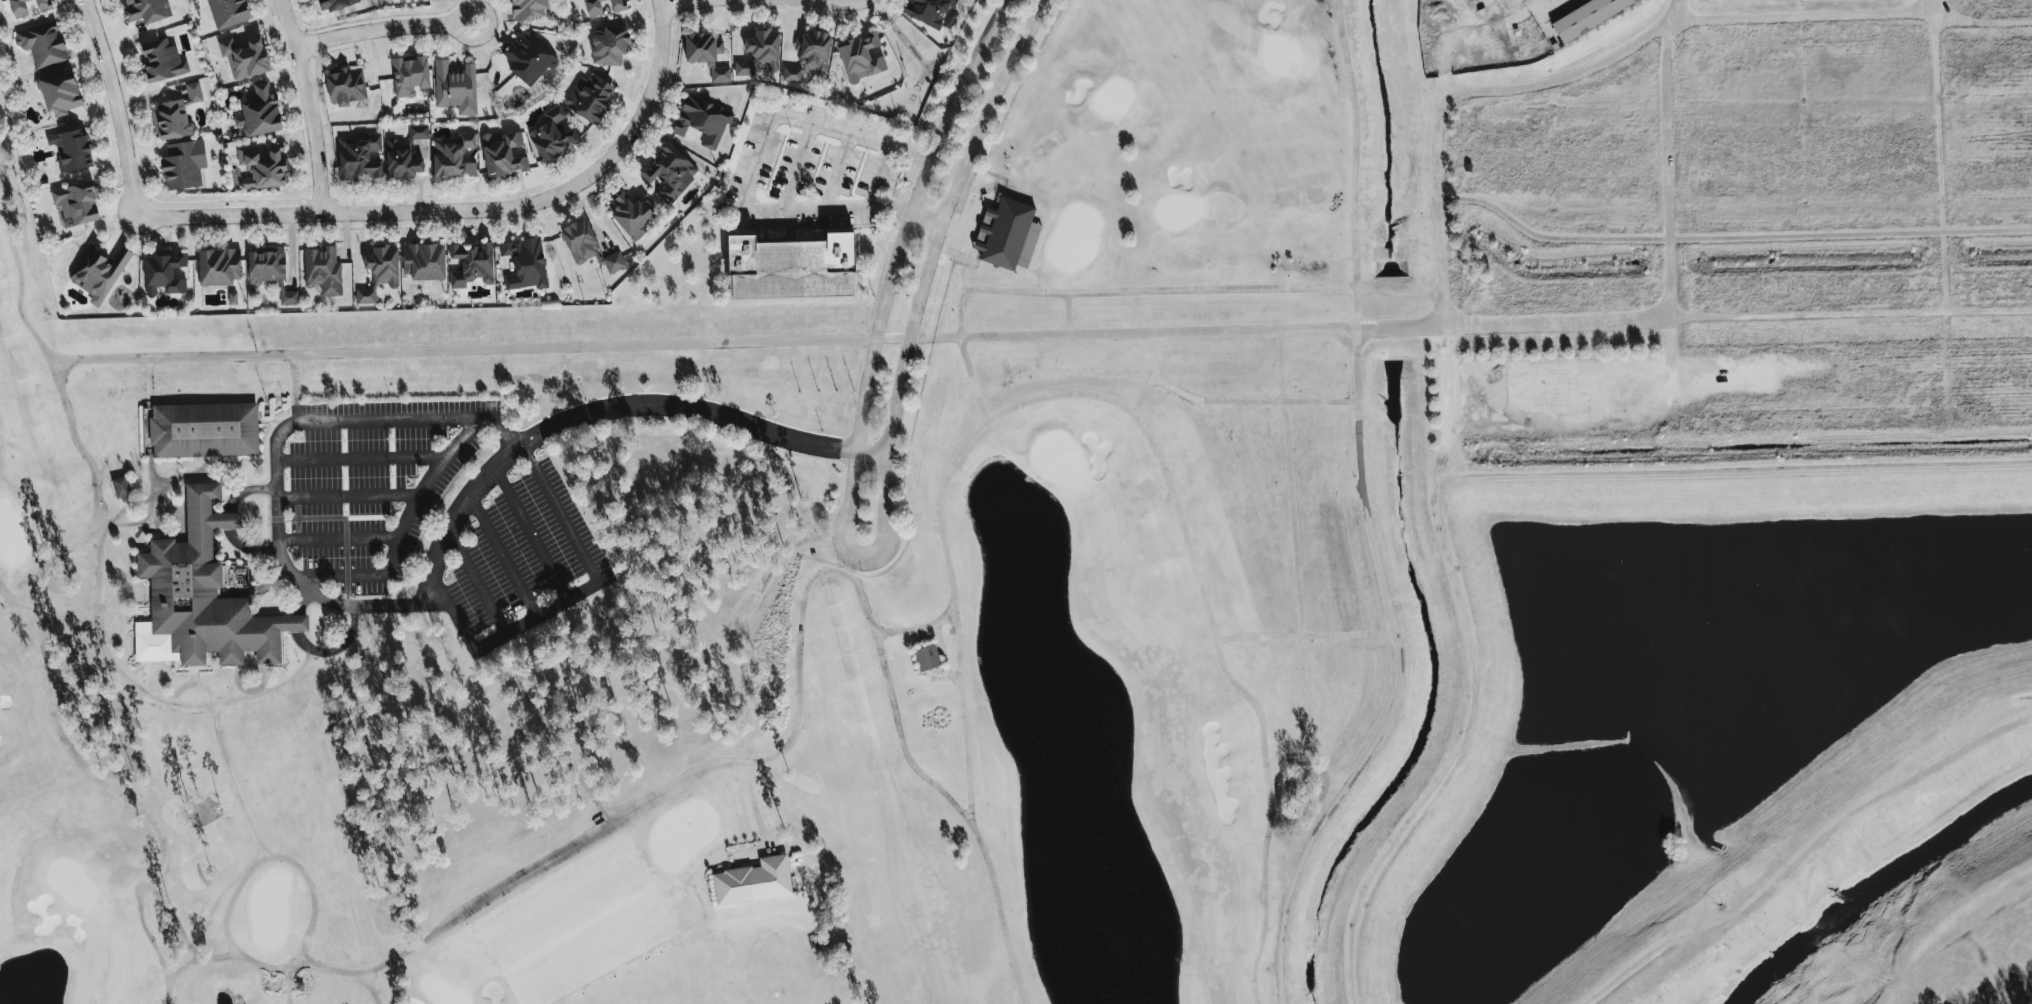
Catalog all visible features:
building: (399, 0)
road: (683, 3)
road: (838, 3)
building: (334, 4)
building: (42, 5)
building: (616, 5)
road: (1932, 6)
building: (593, 7)
building: (18, 8)
building: (529, 9)
building: (146, 10)
road: (1676, 10)
building: (227, 12)
building: (931, 12)
road: (1802, 16)
building: (1585, 17)
road: (1981, 23)
road: (388, 29)
road: (1470, 30)
road: (484, 32)
building: (42, 46)
building: (609, 46)
building: (706, 55)
building: (245, 56)
building: (809, 56)
building: (861, 58)
building: (527, 59)
building: (162, 60)
building: (409, 76)
building: (345, 86)
building: (456, 88)
building: (193, 92)
building: (60, 93)
building: (589, 97)
road: (309, 104)
road: (115, 107)
building: (261, 111)
building: (171, 120)
building: (702, 121)
building: (554, 135)
building: (71, 149)
building: (503, 154)
building: (405, 155)
building: (453, 156)
building: (359, 158)
building: (183, 165)
road: (796, 165)
building: (264, 166)
road: (1667, 169)
building: (670, 172)
road: (839, 172)
road: (750, 174)
road: (881, 177)
road: (1941, 190)
building: (76, 203)
road: (1438, 203)
road: (465, 209)
building: (631, 215)
building: (1007, 235)
road: (1729, 237)
building: (579, 241)
building: (423, 261)
building: (614, 262)
building: (471, 264)
building: (524, 264)
building: (218, 267)
building: (791, 268)
building: (323, 271)
building: (380, 272)
building: (270, 273)
building: (164, 274)
building: (98, 275)
road: (1183, 290)
building: (232, 299)
road: (959, 310)
road: (1067, 313)
road: (1851, 313)
road: (1176, 331)
road: (1671, 365)
road: (700, 412)
building: (204, 430)
road: (362, 458)
parking lot: (373, 484)
building: (120, 487)
road: (350, 495)
road: (404, 527)
fountain: (1005, 531)
road: (531, 533)
road: (338, 538)
road: (277, 543)
road: (504, 555)
road: (864, 556)
parking lot: (520, 559)
road: (477, 580)
building: (205, 595)
road: (573, 595)
park: (727, 598)
building: (926, 658)
park: (1040, 729)
park: (134, 747)
building: (753, 881)
river: (1880, 887)

